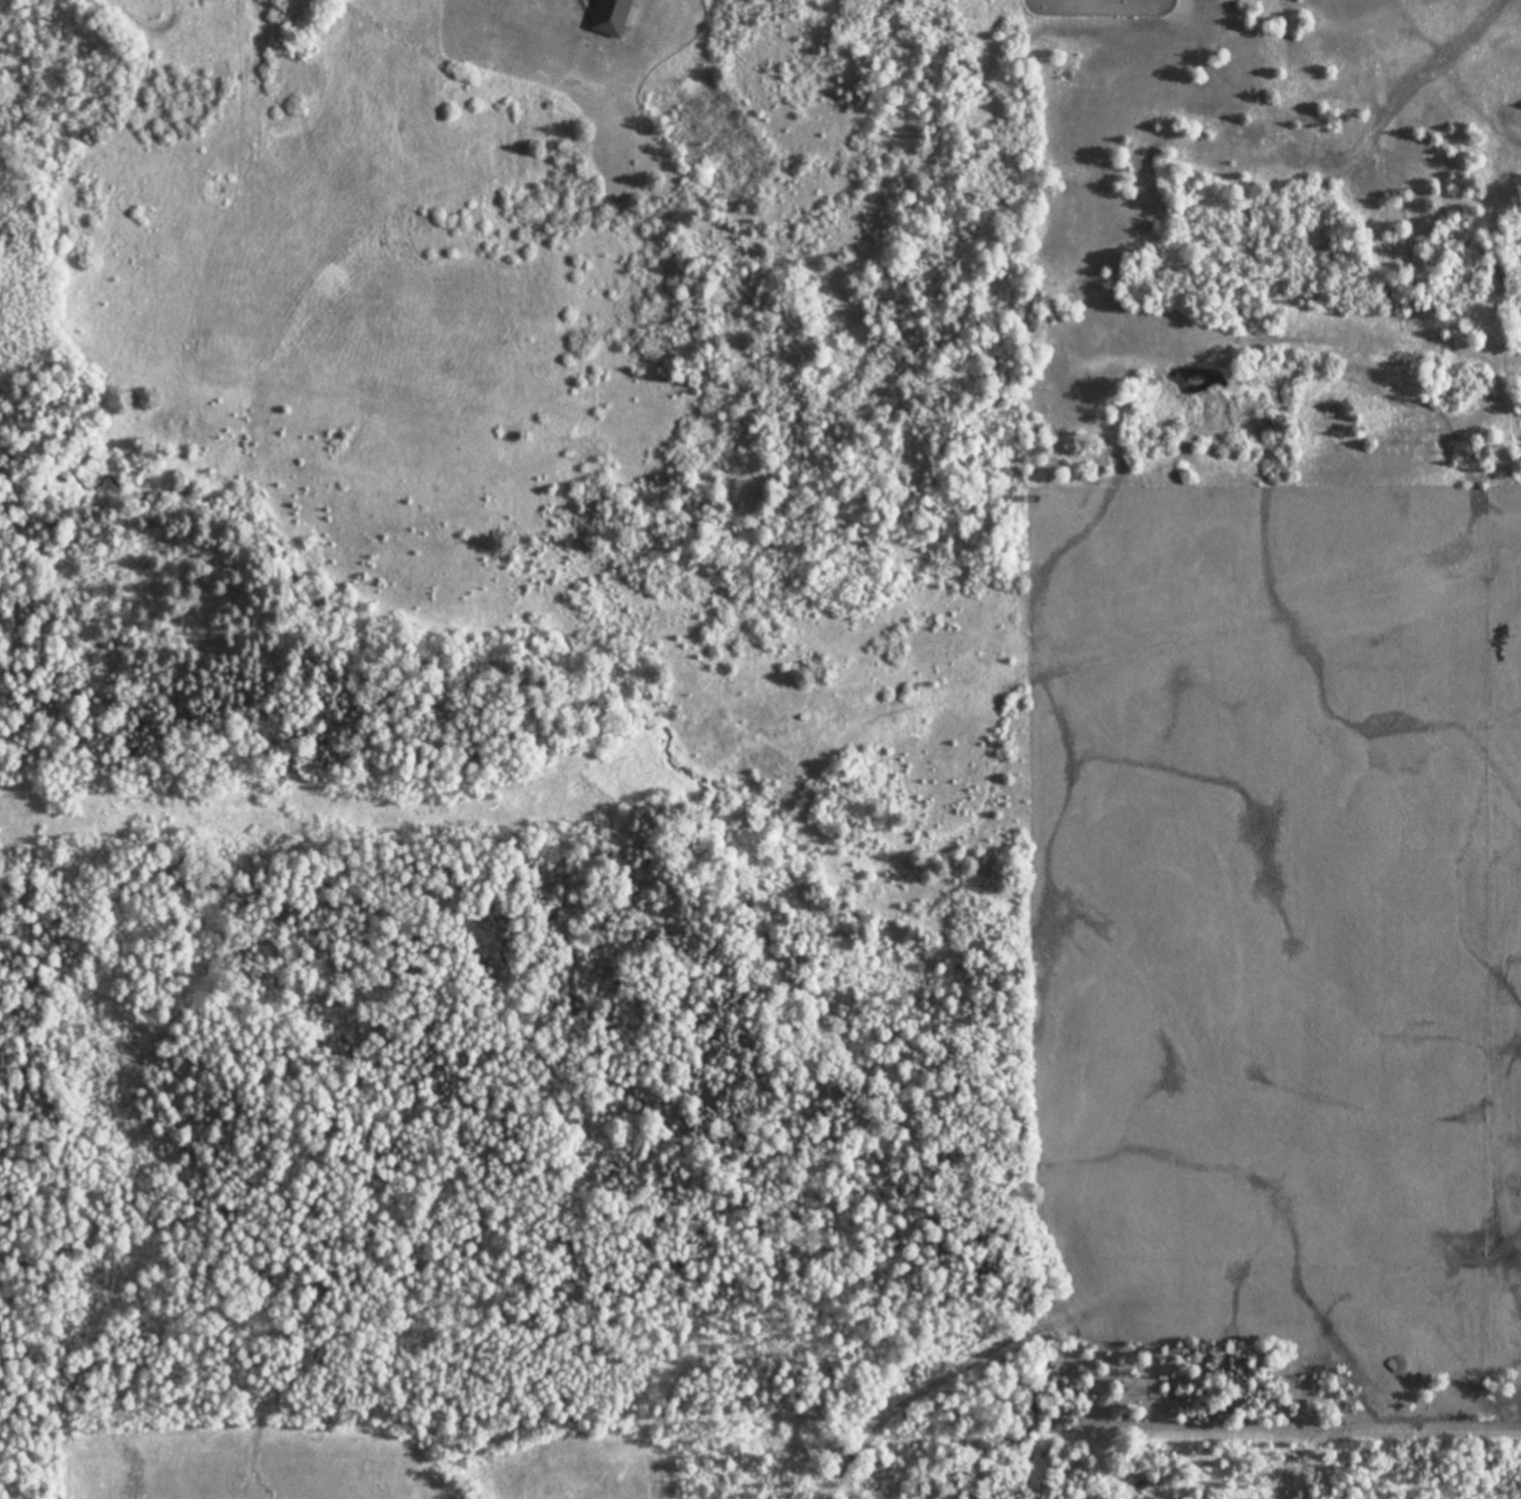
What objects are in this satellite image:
building: (612, 17)
crop: (381, 1460)

